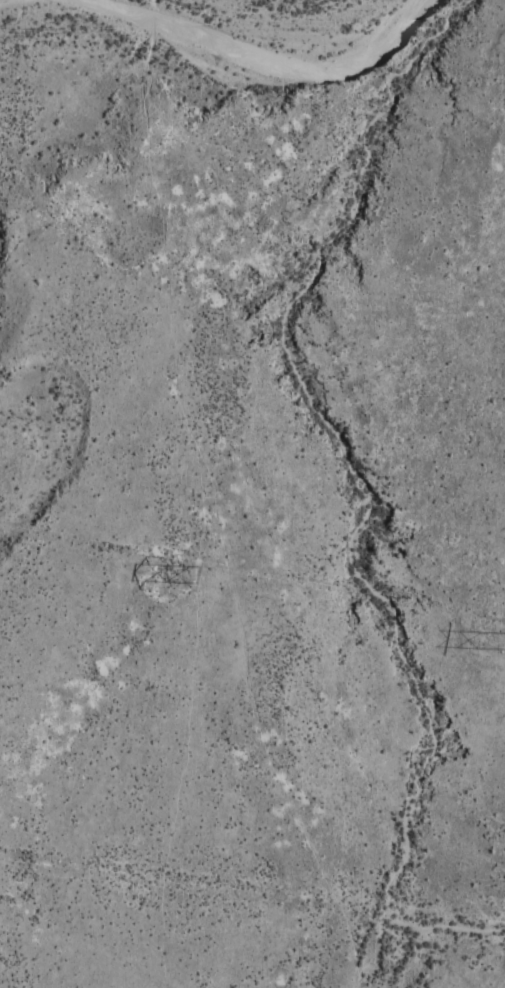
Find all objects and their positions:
river: (173, 13)
power tower: (197, 575)

